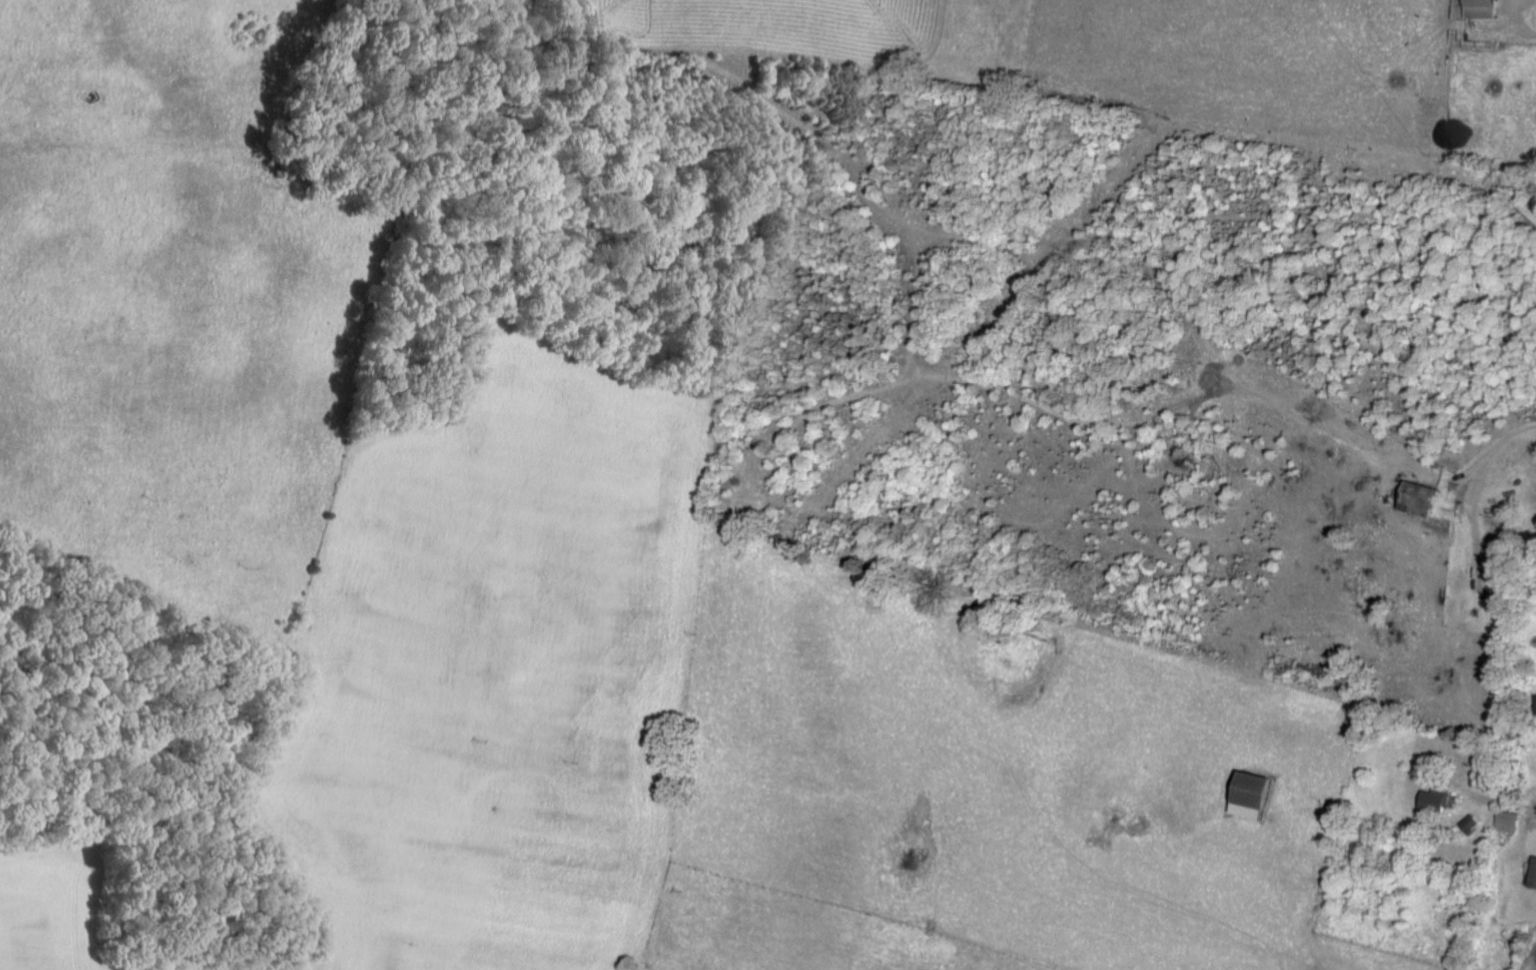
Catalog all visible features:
building: (1492, 8)
building: (1430, 499)
building: (1501, 586)
building: (1261, 795)
building: (1444, 799)
building: (1517, 820)
building: (1478, 823)
building: (1535, 884)

